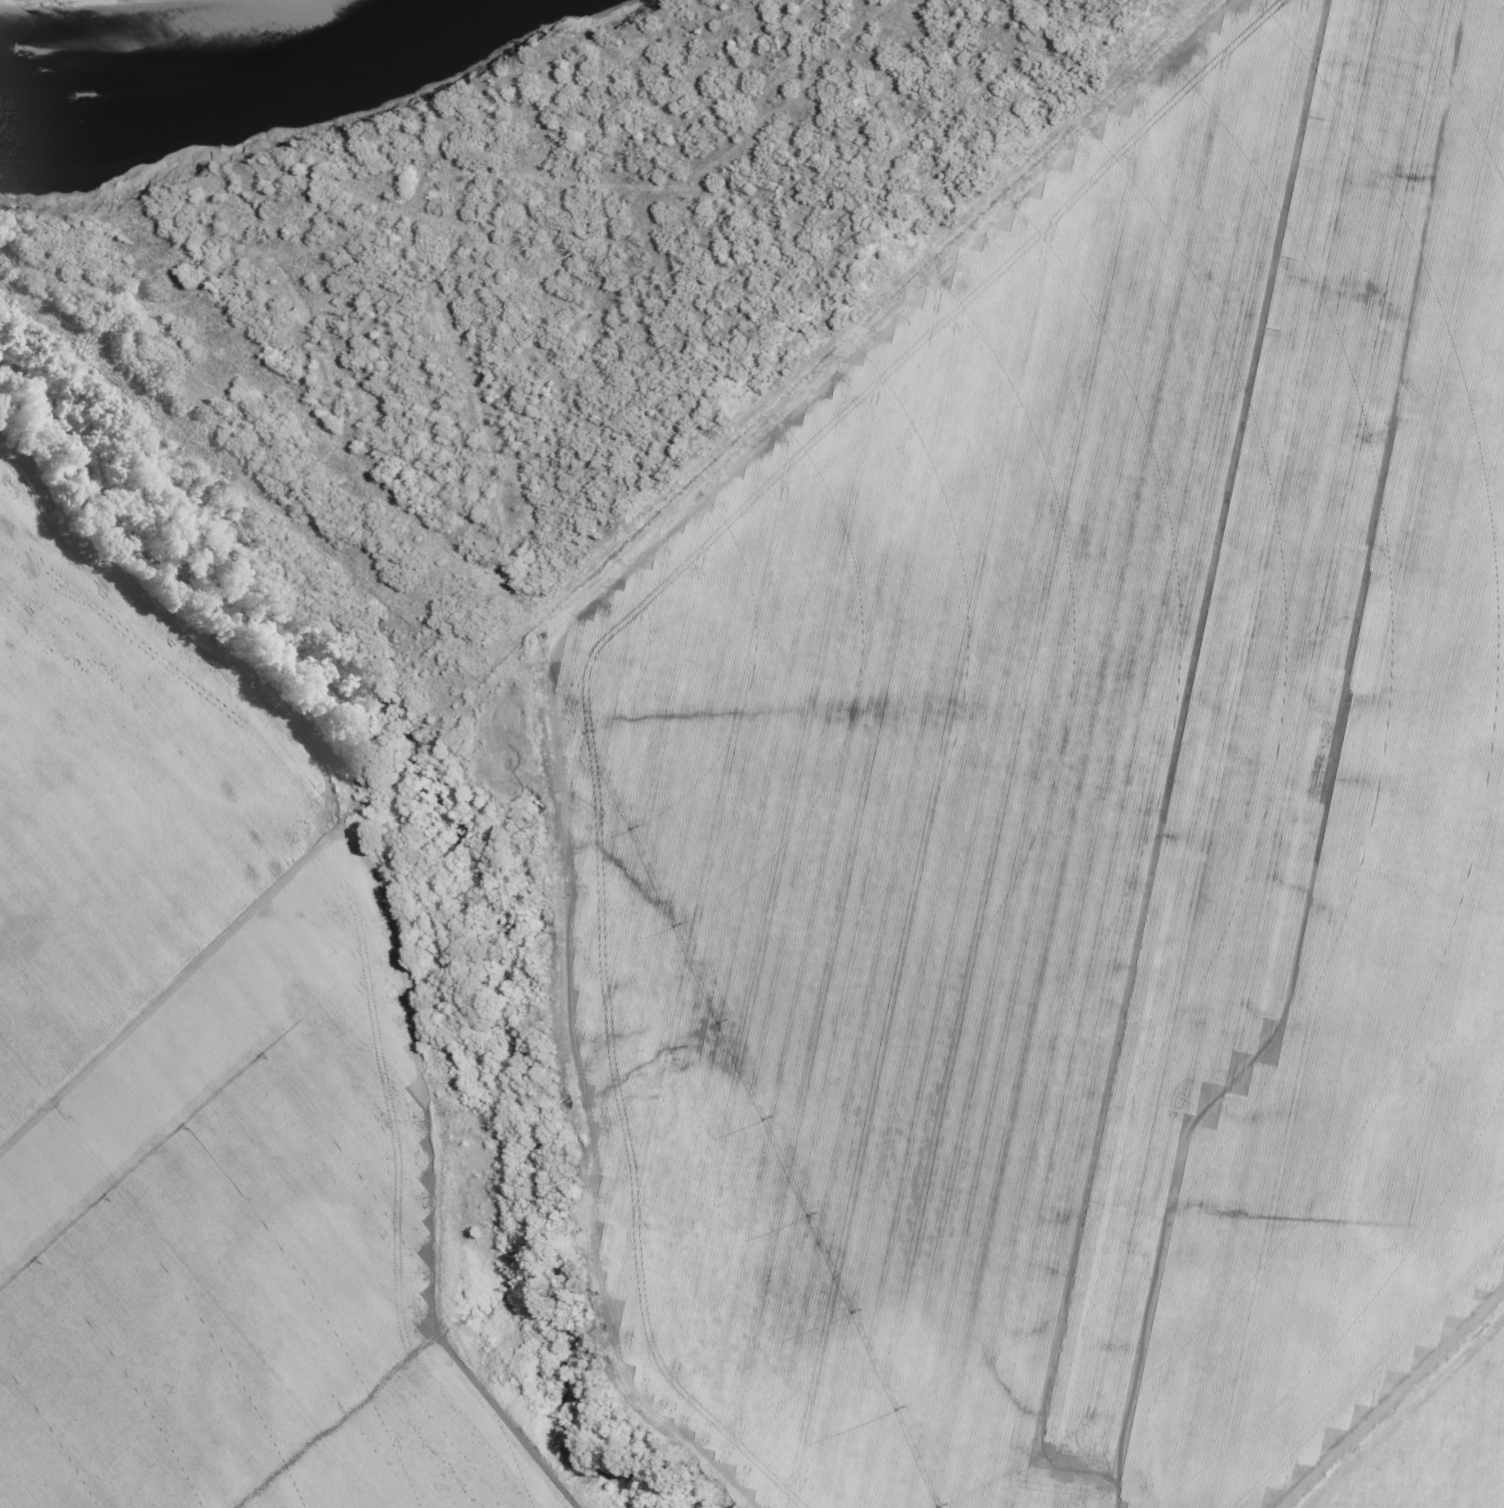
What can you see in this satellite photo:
road: (1388, 1394)

